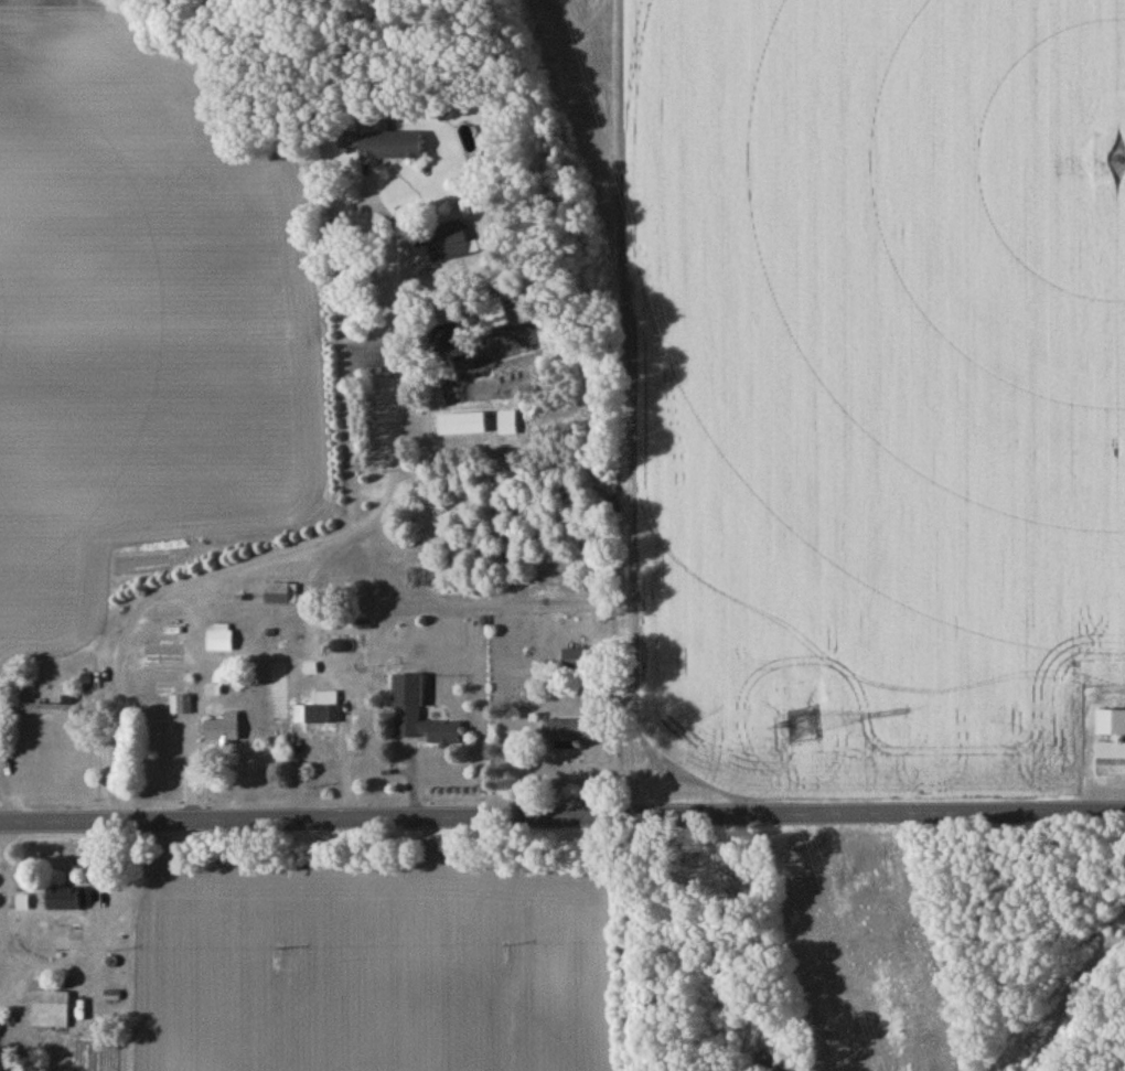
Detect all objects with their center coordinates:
building: (385, 148)
building: (448, 244)
road: (320, 543)
building: (279, 597)
building: (218, 643)
building: (581, 661)
building: (180, 707)
building: (50, 710)
building: (318, 713)
building: (1111, 725)
power tower: (805, 727)
building: (425, 729)
building: (221, 732)
building: (572, 733)
road: (354, 752)
building: (1111, 761)
road: (562, 817)
building: (63, 901)
road: (53, 967)
building: (50, 1011)

